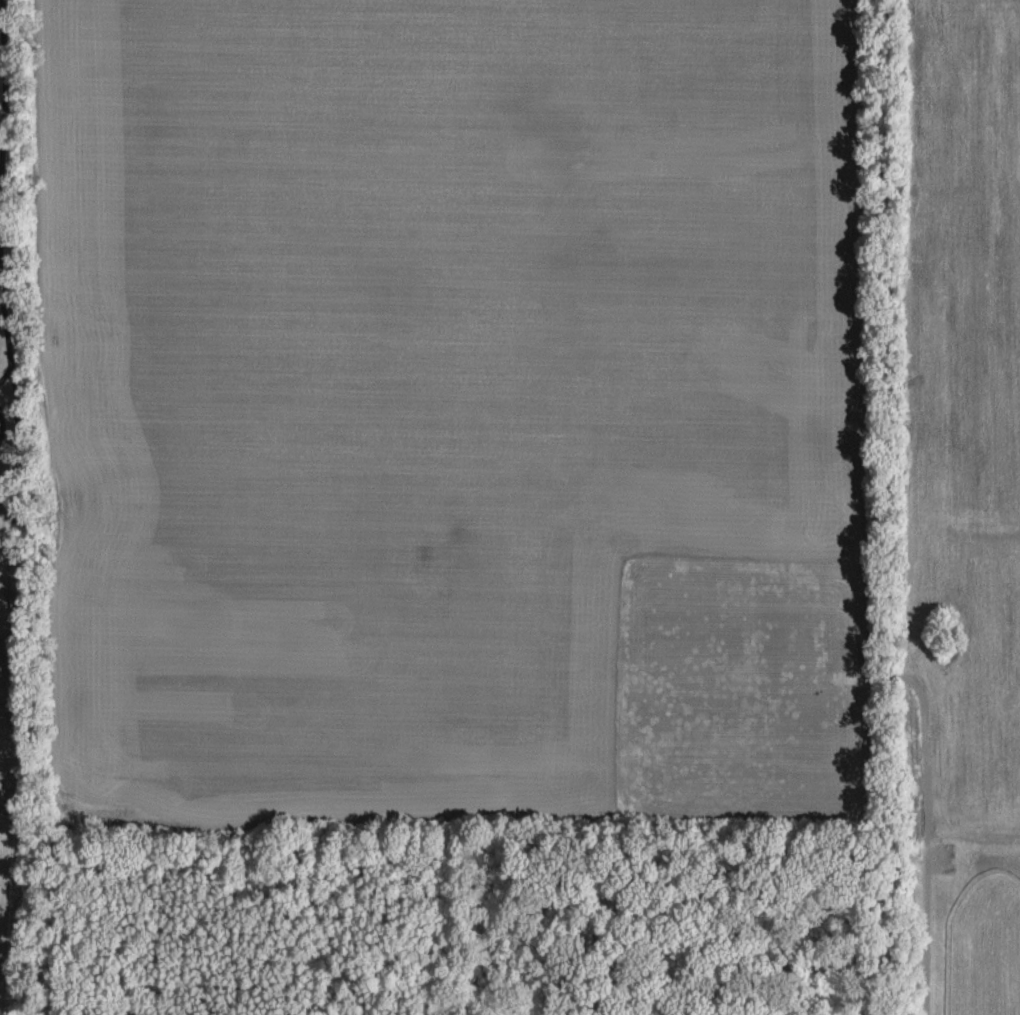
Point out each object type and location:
road: (116, 352)

